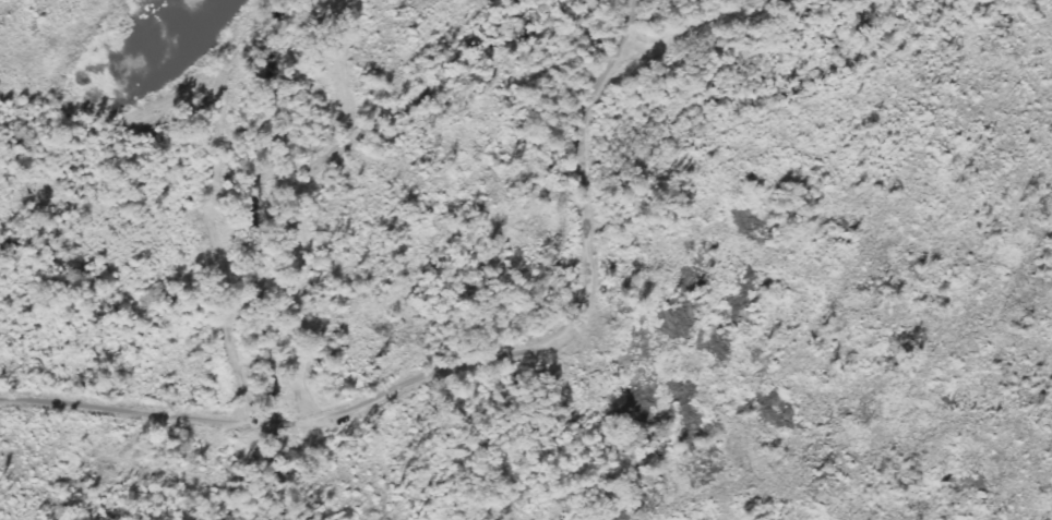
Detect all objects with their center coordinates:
road: (457, 365)

